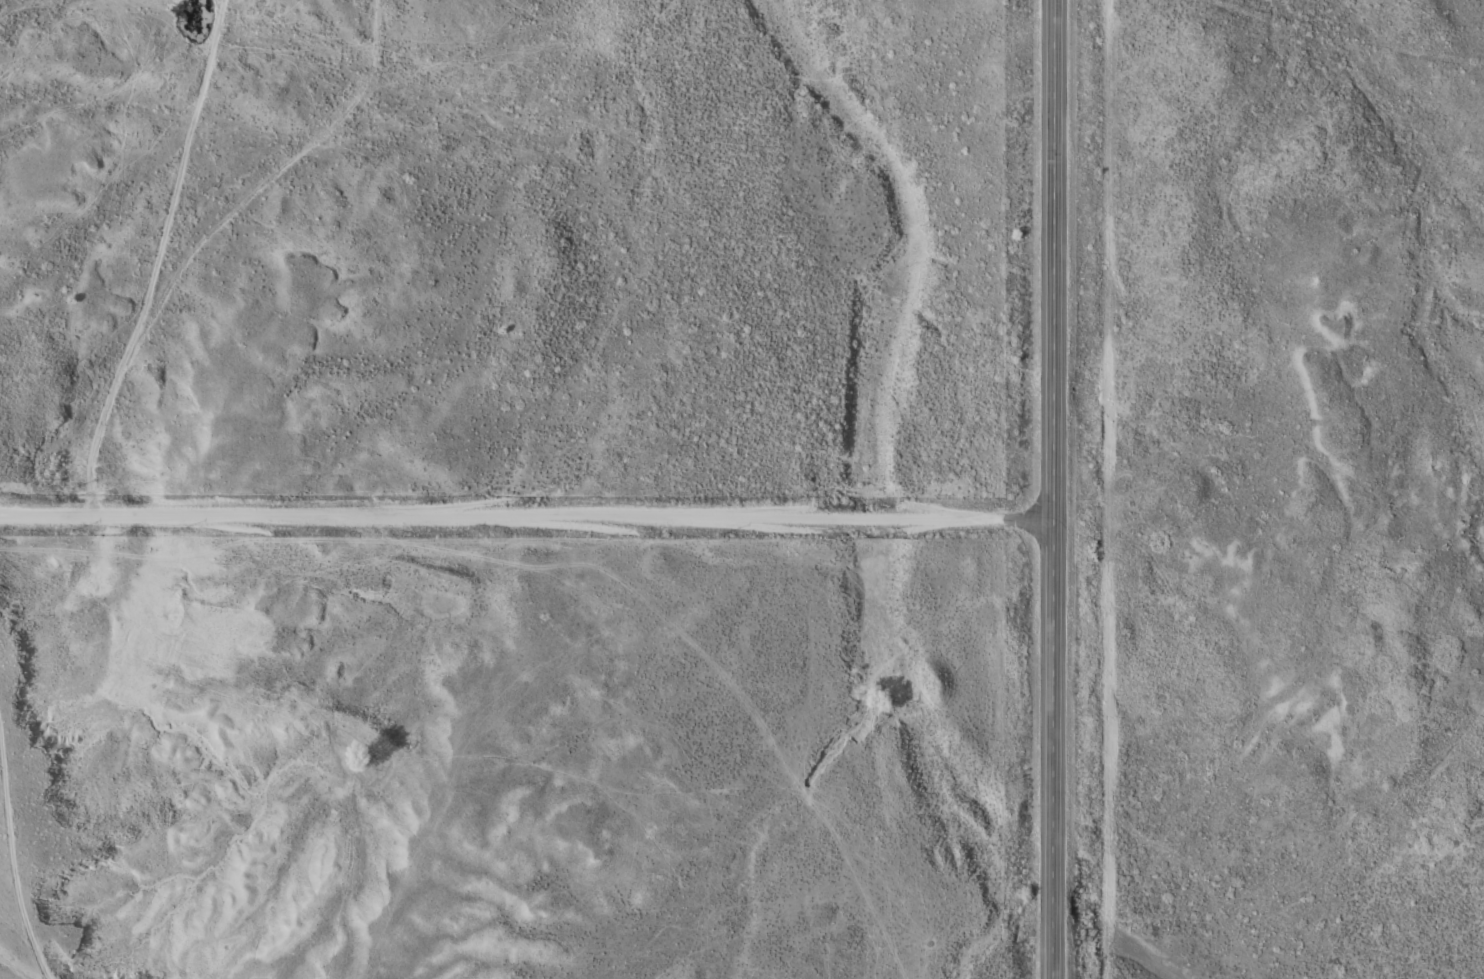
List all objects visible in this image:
road: (1061, 489)

